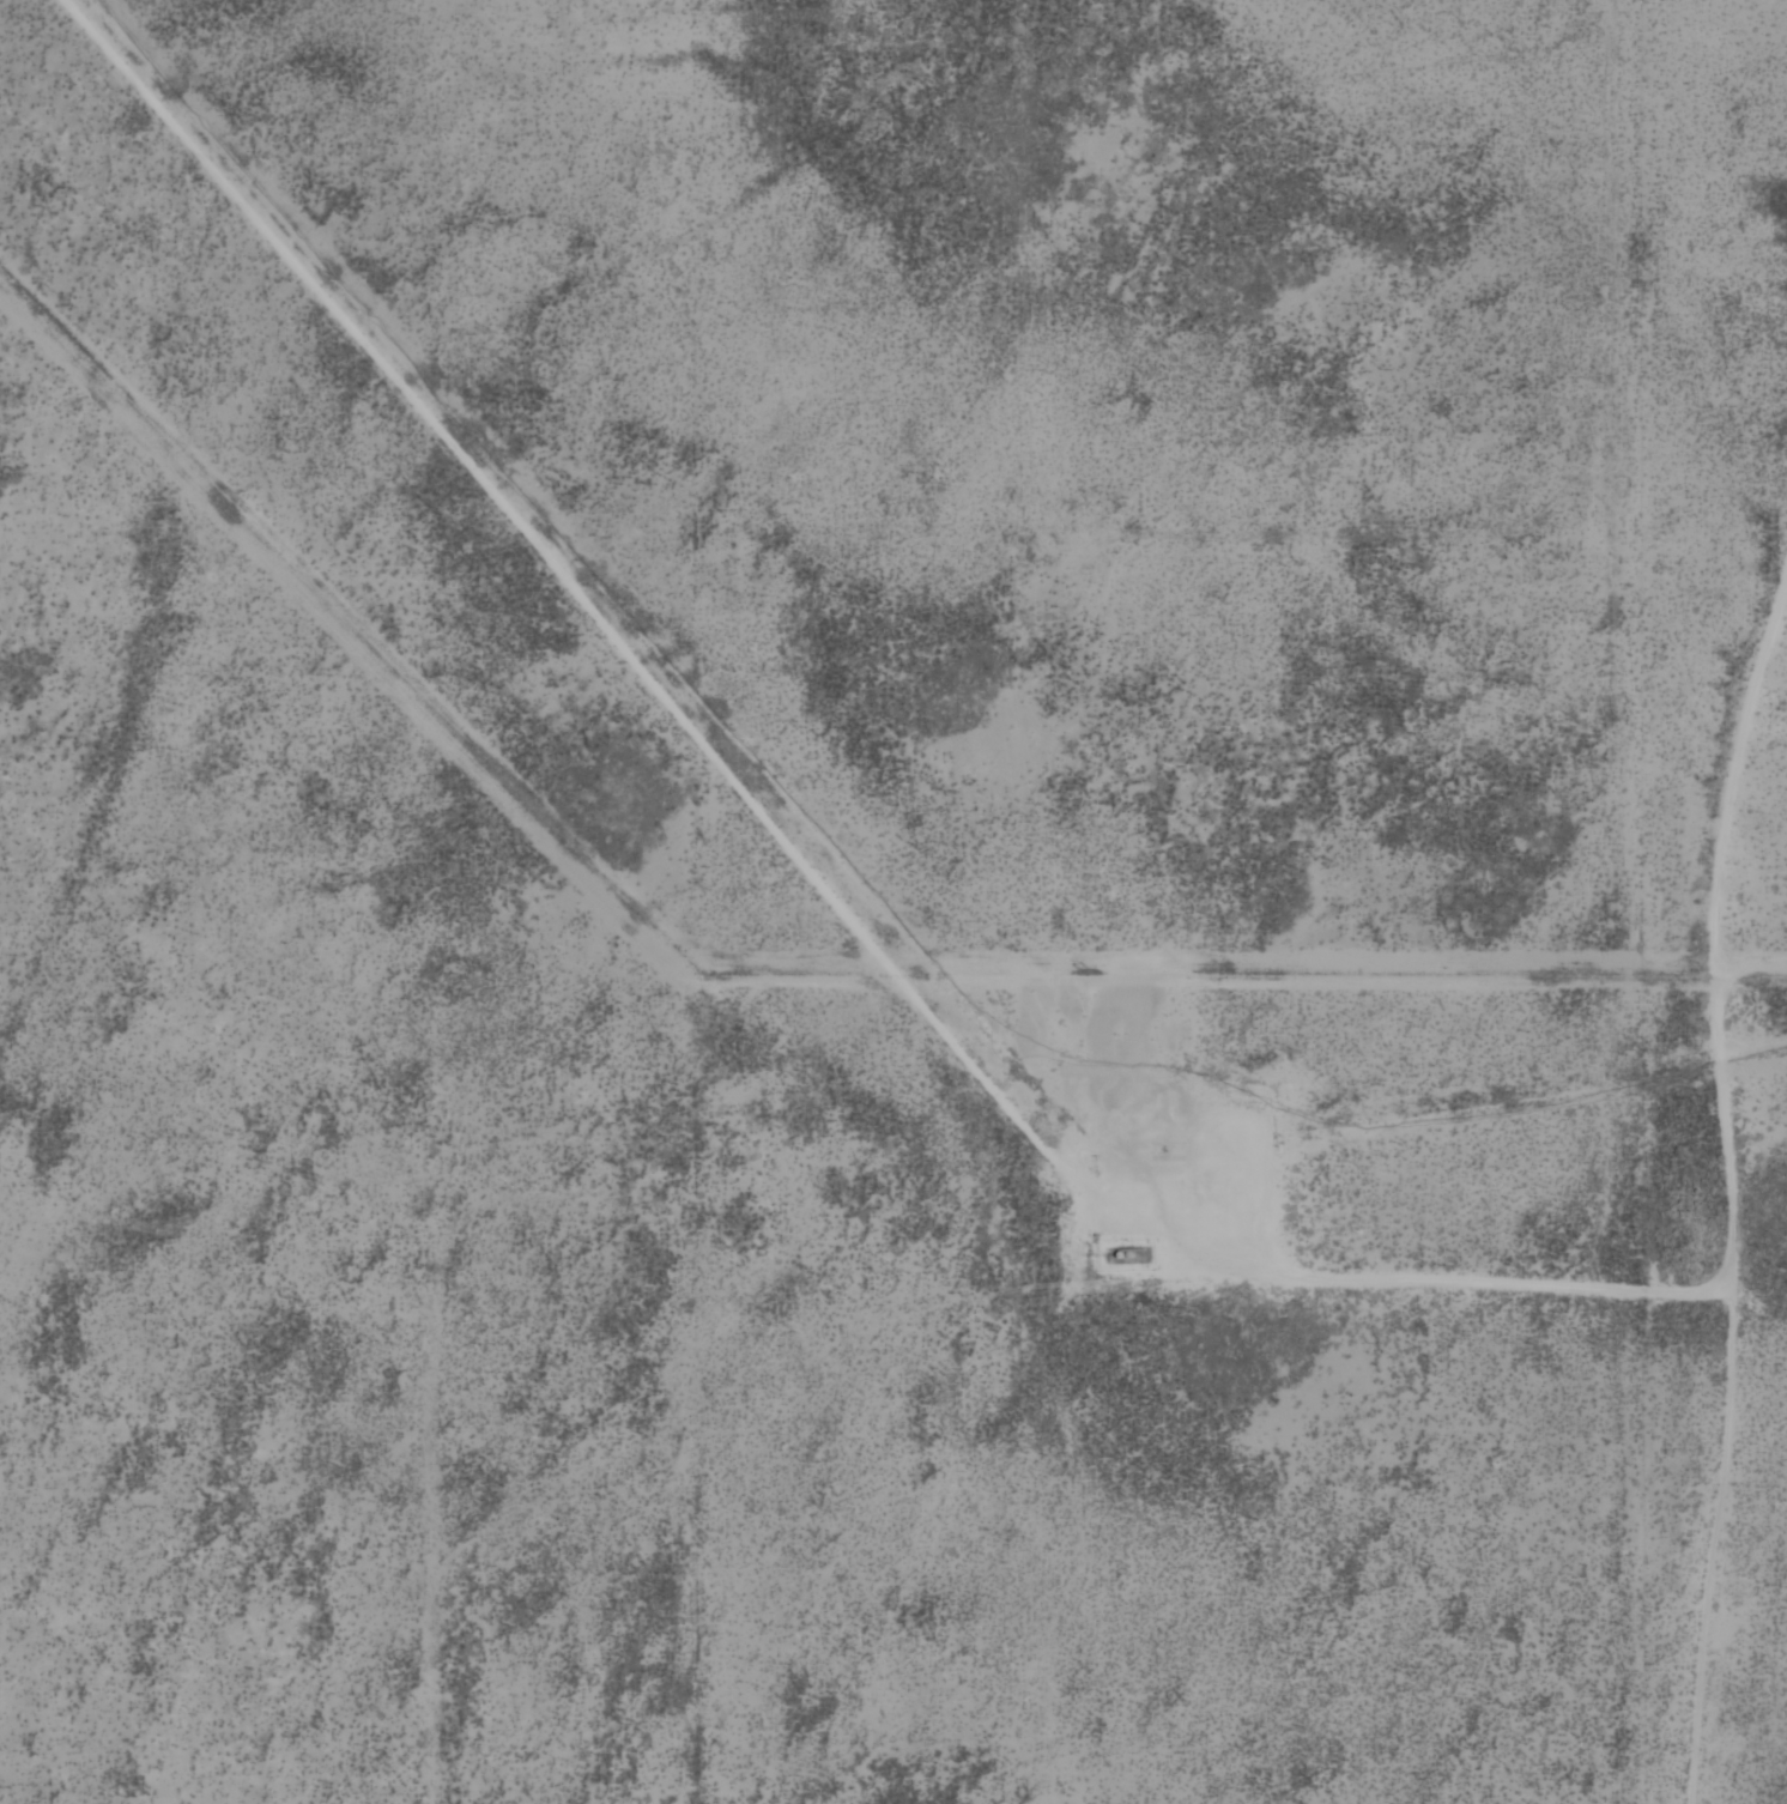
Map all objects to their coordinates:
road: (656, 683)
road: (1733, 1137)

